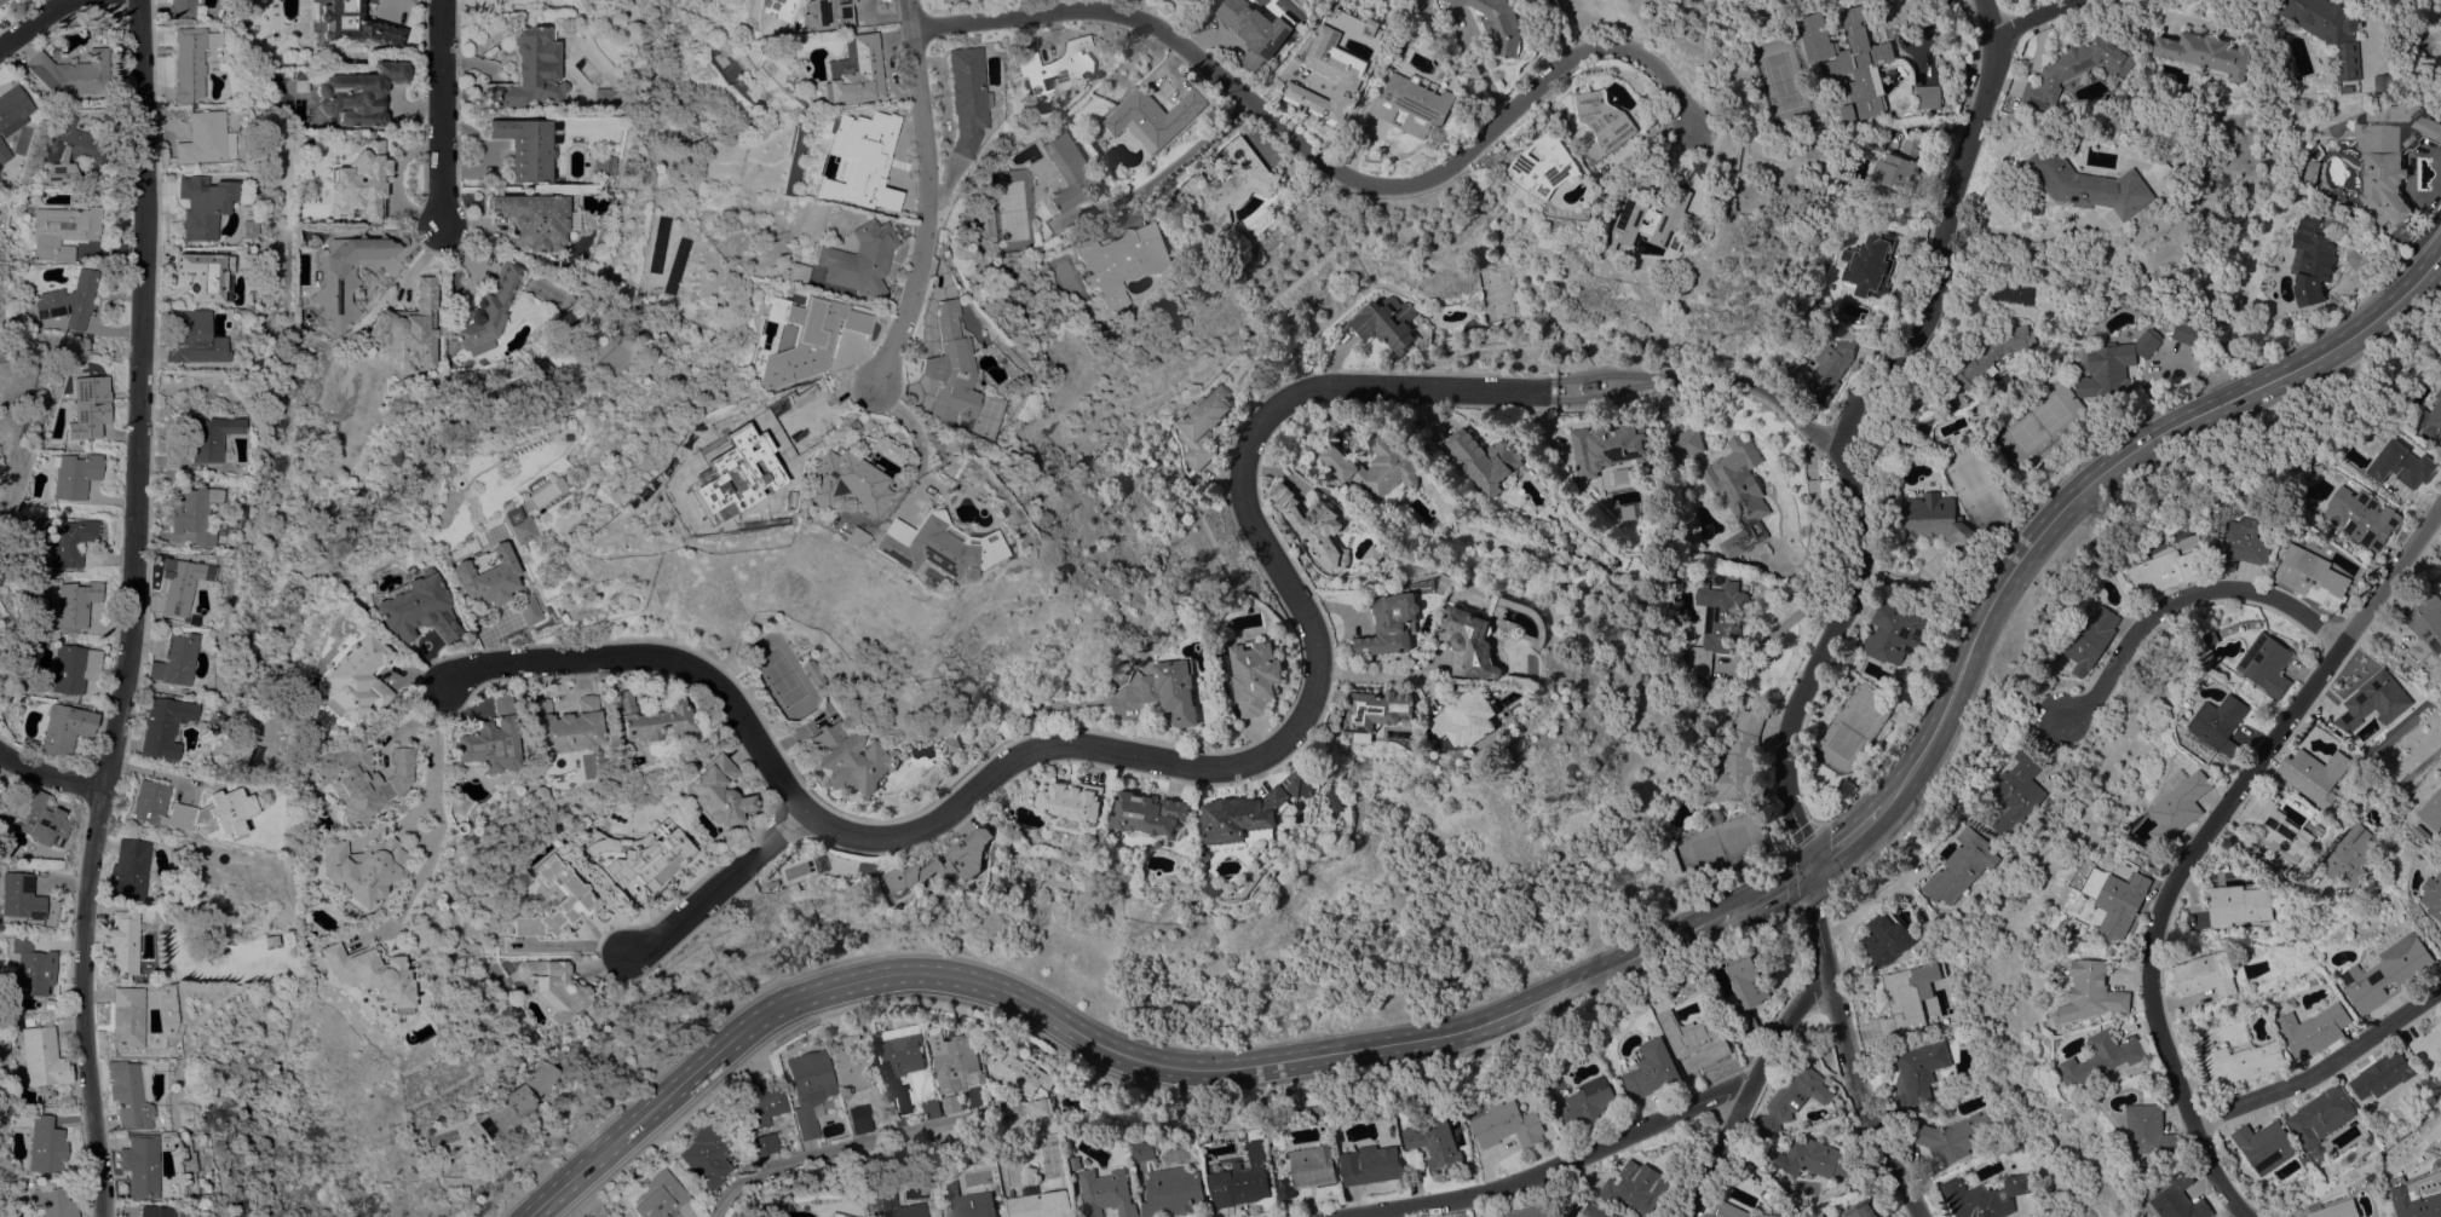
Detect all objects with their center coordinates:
building: (1, 0)
building: (931, 0)
building: (1190, 0)
building: (1449, 0)
building: (506, 4)
building: (180, 8)
building: (811, 15)
road: (2045, 18)
road: (40, 19)
building: (1498, 22)
building: (355, 23)
building: (1374, 27)
road: (1558, 27)
building: (2327, 29)
building: (1259, 30)
road: (2371, 30)
building: (2209, 53)
building: (1848, 58)
building: (190, 60)
building: (606, 62)
building: (1054, 67)
building: (2079, 67)
building: (1343, 68)
building: (531, 70)
building: (841, 71)
building: (70, 73)
building: (299, 80)
building: (2384, 82)
building: (357, 94)
building: (1928, 96)
building: (606, 97)
building: (956, 98)
building: (1412, 102)
building: (12, 109)
road: (436, 111)
building: (1153, 116)
building: (690, 121)
building: (1605, 122)
building: (201, 138)
building: (1877, 138)
building: (528, 145)
building: (70, 149)
road: (1185, 151)
building: (4, 152)
building: (852, 160)
building: (2390, 161)
road: (1319, 162)
building: (1547, 163)
building: (605, 165)
building: (2165, 167)
building: (1607, 168)
building: (1069, 169)
building: (2309, 171)
building: (1896, 173)
building: (359, 183)
building: (2092, 183)
building: (1230, 186)
road: (909, 195)
building: (201, 206)
building: (535, 219)
building: (1654, 220)
building: (247, 229)
building: (62, 230)
road: (2019, 231)
building: (844, 259)
building: (1118, 259)
building: (2312, 259)
building: (240, 260)
building: (1875, 267)
road: (2426, 271)
building: (781, 273)
building: (202, 275)
building: (345, 275)
building: (68, 300)
building: (483, 312)
building: (1384, 322)
building: (408, 328)
building: (2186, 330)
building: (190, 336)
building: (789, 338)
building: (1991, 354)
building: (2113, 365)
building: (935, 368)
building: (540, 369)
building: (1824, 369)
building: (1589, 386)
road: (139, 393)
building: (2020, 403)
building: (86, 409)
building: (1959, 409)
building: (2430, 419)
building: (1201, 425)
road: (1853, 428)
building: (203, 436)
building: (559, 437)
building: (1687, 442)
building: (1607, 449)
road: (898, 450)
building: (1486, 460)
building: (1336, 461)
building: (2403, 466)
building: (1387, 469)
building: (74, 474)
building: (714, 477)
building: (827, 483)
road: (2085, 485)
building: (1738, 492)
building: (190, 513)
building: (2362, 517)
building: (1935, 520)
building: (1313, 525)
building: (512, 530)
building: (2205, 533)
building: (835, 537)
building: (69, 542)
building: (2244, 543)
building: (915, 548)
building: (2164, 570)
building: (2313, 577)
building: (485, 581)
building: (177, 584)
road: (2181, 596)
building: (75, 602)
building: (409, 608)
building: (1717, 623)
road: (1781, 623)
building: (1393, 624)
building: (2425, 625)
building: (1895, 631)
building: (2092, 640)
building: (1475, 642)
building: (174, 659)
building: (2267, 664)
building: (73, 668)
road: (1374, 670)
building: (811, 673)
building: (1255, 675)
building: (347, 679)
building: (1175, 691)
building: (2374, 700)
building: (1380, 708)
building: (1473, 716)
building: (647, 719)
building: (2220, 722)
building: (163, 726)
building: (560, 726)
building: (64, 728)
building: (480, 740)
building: (954, 744)
road: (1274, 749)
building: (851, 759)
building: (1737, 762)
road: (48, 774)
building: (2313, 774)
building: (1296, 778)
building: (356, 779)
building: (2016, 791)
building: (716, 792)
building: (1335, 797)
building: (1072, 800)
building: (2177, 802)
building: (188, 808)
building: (1152, 813)
building: (2433, 813)
building: (1248, 817)
building: (1715, 817)
building: (44, 821)
road: (427, 827)
building: (2276, 829)
building: (2318, 831)
building: (2420, 832)
road: (2199, 842)
road: (1850, 843)
building: (1208, 854)
building: (640, 855)
building: (2350, 858)
building: (950, 860)
building: (1959, 866)
building: (129, 867)
building: (357, 870)
traffic signals: (1810, 871)
road: (716, 884)
building: (2434, 894)
road: (1766, 895)
building: (21, 896)
building: (2122, 900)
building: (557, 901)
building: (2238, 904)
building: (186, 911)
building: (151, 912)
building: (1927, 932)
building: (1886, 938)
building: (270, 940)
building: (122, 941)
road: (571, 948)
building: (33, 968)
building: (2389, 973)
building: (364, 974)
building: (2204, 975)
building: (1749, 981)
building: (553, 986)
building: (2092, 992)
building: (1906, 999)
road: (82, 1000)
building: (126, 1016)
building: (1746, 1020)
building: (28, 1021)
building: (935, 1028)
building: (2314, 1029)
building: (1696, 1036)
building: (871, 1042)
road: (1093, 1042)
building: (2429, 1048)
building: (902, 1049)
road: (1847, 1049)
building: (2105, 1056)
building: (42, 1057)
building: (954, 1060)
building: (854, 1063)
building: (2244, 1063)
building: (1653, 1068)
road: (2322, 1068)
building: (1918, 1073)
building: (2382, 1074)
building: (981, 1075)
building: (536, 1077)
building: (1024, 1079)
building: (808, 1088)
building: (127, 1095)
building: (1792, 1097)
building: (1590, 1100)
building: (951, 1103)
building: (760, 1106)
building: (931, 1107)
building: (497, 1113)
building: (2320, 1115)
building: (859, 1118)
building: (899, 1121)
building: (1506, 1125)
building: (2149, 1130)
building: (1957, 1135)
building: (163, 1137)
road: (1624, 1137)
building: (1437, 1141)
building: (762, 1143)
building: (45, 1144)
building: (2266, 1144)
road: (850, 1148)
building: (1145, 1149)
road: (1722, 1149)
building: (2316, 1153)
building: (708, 1154)
building: (1814, 1158)
building: (2305, 1160)
building: (1076, 1163)
building: (1374, 1164)
building: (139, 1165)
building: (1308, 1170)
building: (1242, 1179)
building: (1635, 1186)
building: (1174, 1190)
building: (1107, 1192)
building: (658, 1195)
building: (1982, 1196)
building: (2420, 1198)
building: (2180, 1200)
building: (967, 1201)
building: (52, 1202)
building: (1041, 1204)
building: (776, 1206)
building: (896, 1206)
building: (1595, 1209)
building: (1861, 1210)
building: (2339, 1210)
building: (152, 1211)
building: (1530, 1211)
building: (1737, 1211)
building: (835, 1215)

